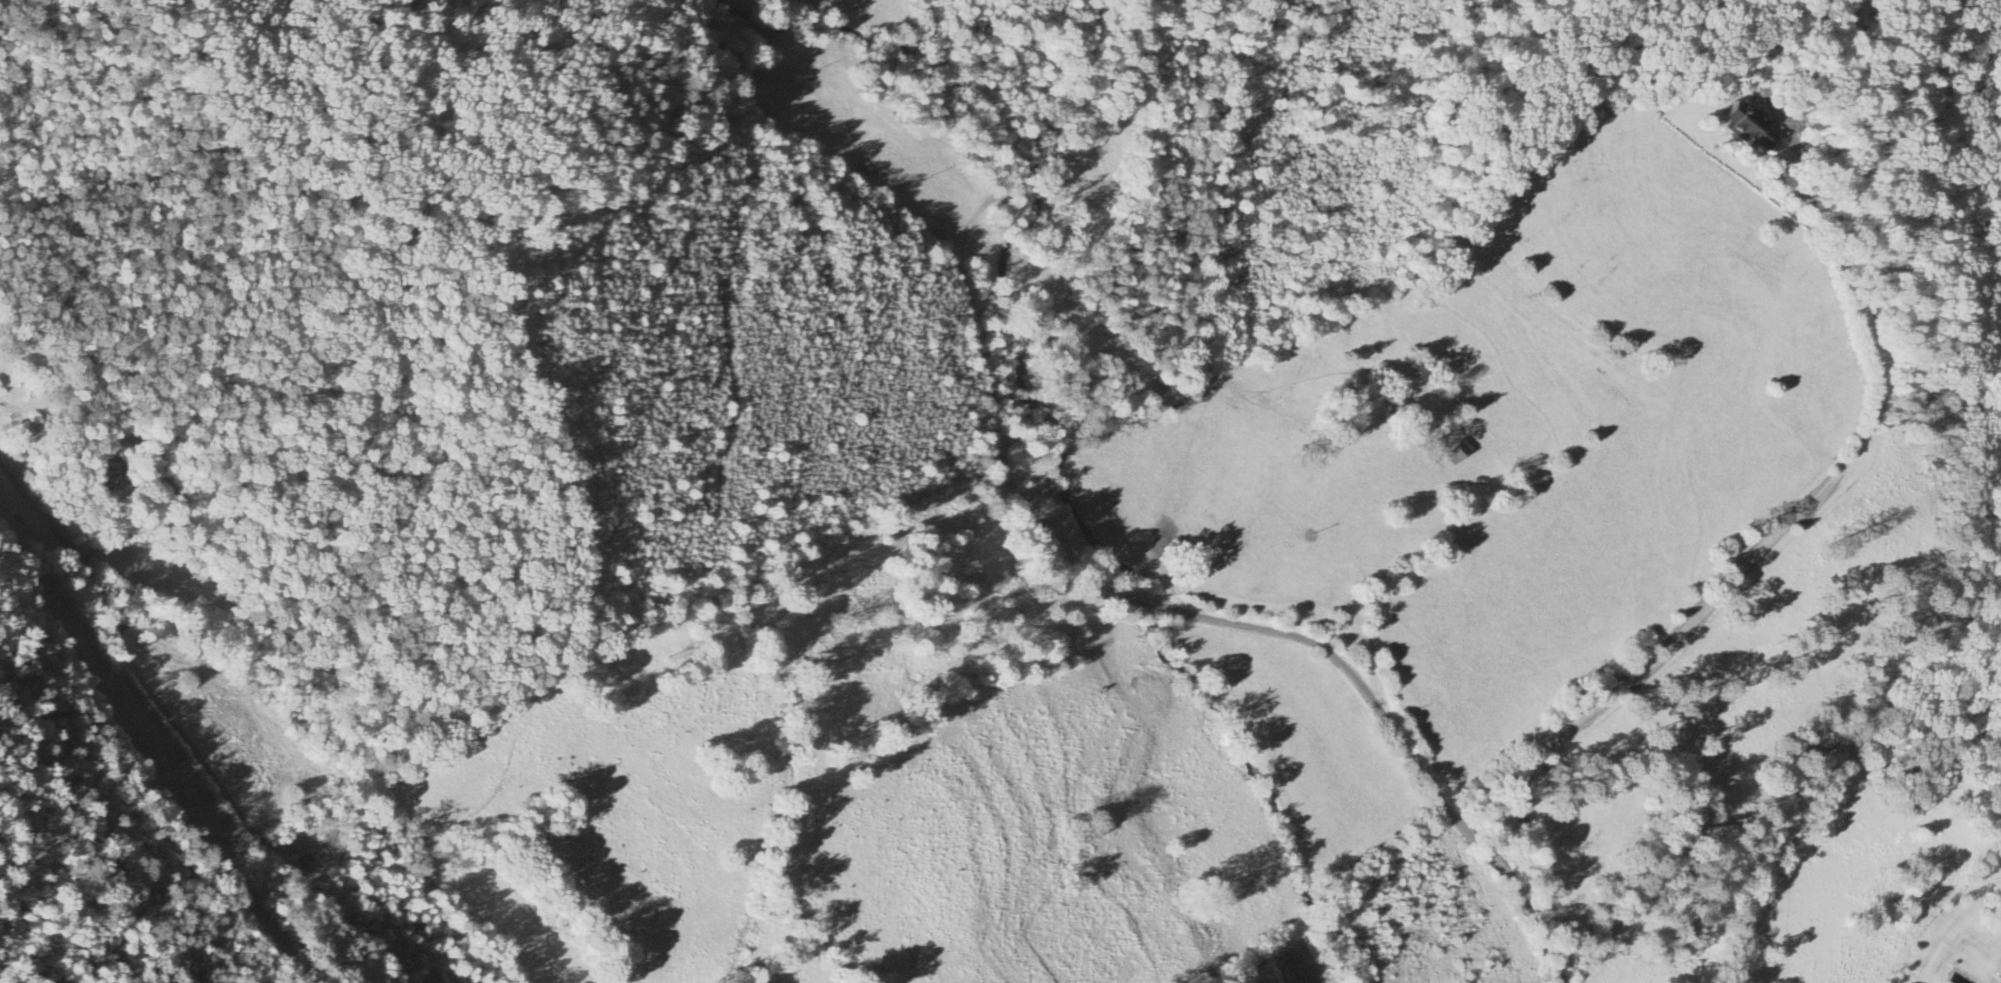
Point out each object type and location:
road: (1096, 85)
building: (1749, 127)
road: (1054, 172)
road: (989, 421)
building: (1456, 452)
building: (108, 480)
road: (18, 490)
road: (155, 524)
road: (1767, 540)
road: (1425, 548)
road: (204, 765)
building: (1999, 974)

